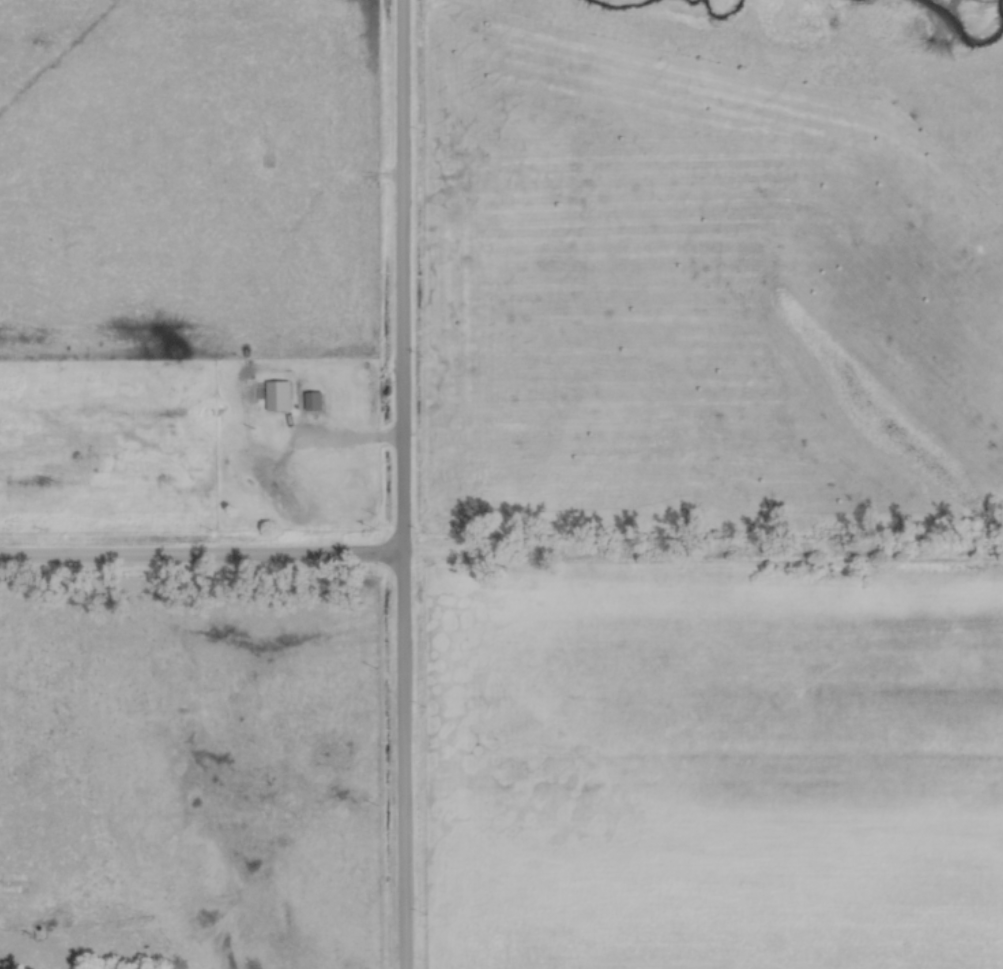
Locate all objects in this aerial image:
river: (613, 7)
river: (935, 20)
building: (276, 397)
building: (310, 402)
road: (345, 446)
building: (268, 482)
road: (403, 484)
road: (202, 564)

